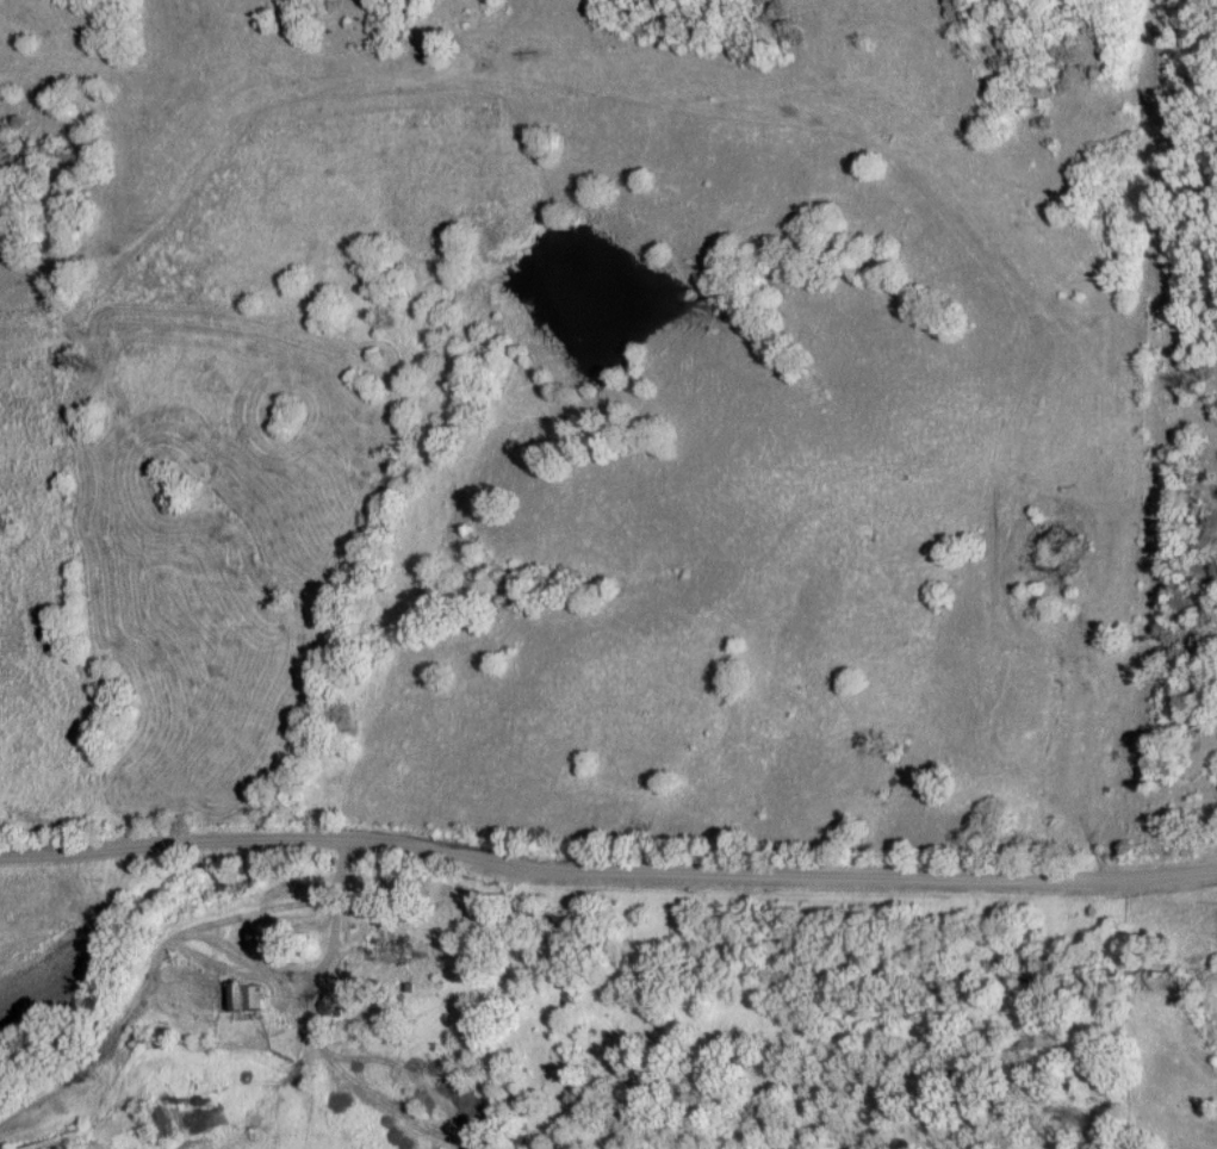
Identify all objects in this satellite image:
road: (292, 841)
road: (120, 843)
road: (778, 877)
building: (390, 951)
building: (247, 998)
road: (309, 1037)
road: (252, 1101)
building: (157, 1128)

